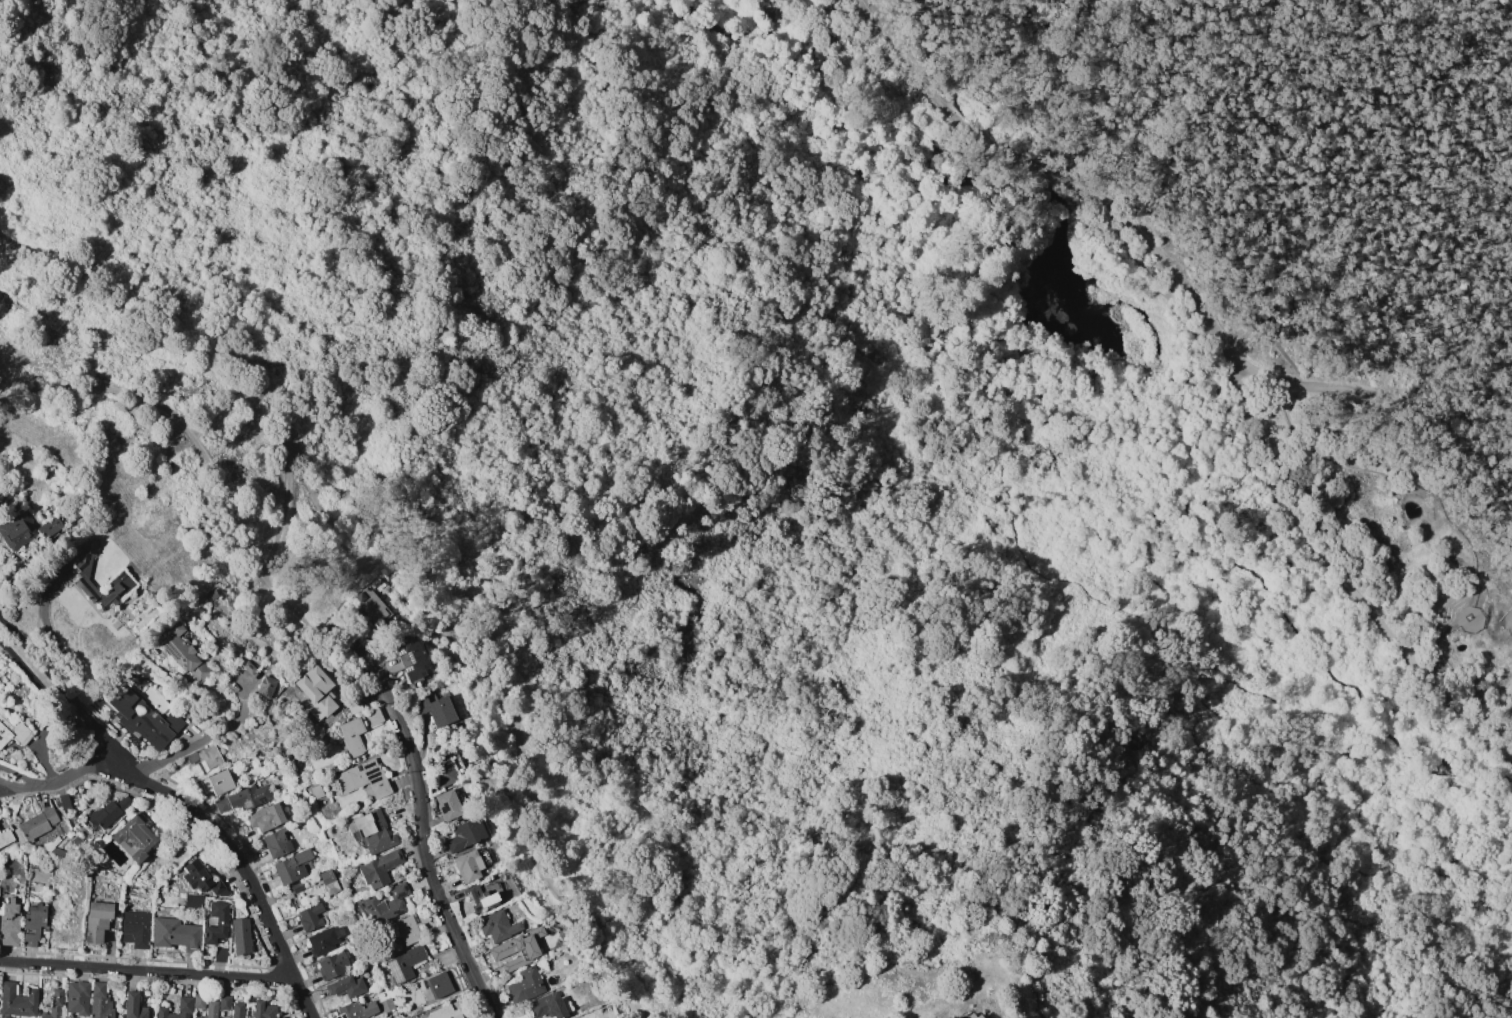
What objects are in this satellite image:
road: (1144, 37)
road: (1218, 47)
road: (1054, 172)
road: (1057, 183)
road: (1245, 188)
road: (1046, 193)
road: (1167, 295)
building: (1269, 327)
road: (223, 363)
road: (1225, 376)
road: (1375, 420)
road: (1235, 421)
road: (199, 450)
building: (48, 527)
building: (16, 530)
building: (83, 574)
road: (1343, 576)
building: (371, 606)
road: (1189, 625)
road: (1298, 640)
building: (182, 653)
road: (34, 656)
building: (410, 656)
road: (1172, 661)
building: (265, 684)
road: (513, 691)
road: (41, 692)
building: (315, 692)
building: (435, 710)
road: (80, 713)
building: (373, 717)
building: (142, 719)
building: (13, 732)
building: (351, 736)
road: (203, 740)
building: (208, 757)
building: (443, 770)
road: (76, 773)
road: (19, 776)
building: (362, 778)
building: (216, 782)
road: (19, 789)
building: (243, 798)
building: (447, 805)
road: (421, 809)
building: (109, 812)
building: (265, 817)
building: (37, 823)
building: (372, 830)
building: (464, 834)
building: (5, 837)
building: (133, 838)
building: (275, 843)
road: (229, 851)
building: (467, 865)
building: (291, 866)
building: (378, 869)
building: (201, 879)
building: (327, 881)
building: (479, 897)
building: (192, 901)
building: (385, 904)
building: (309, 917)
building: (96, 920)
building: (9, 922)
building: (33, 923)
building: (215, 923)
building: (496, 926)
building: (134, 929)
building: (404, 930)
building: (175, 934)
building: (240, 936)
building: (324, 939)
building: (516, 950)
building: (219, 955)
building: (403, 963)
building: (332, 965)
road: (147, 970)
building: (438, 985)
building: (525, 985)
building: (345, 986)
building: (76, 997)
building: (16, 1001)
building: (99, 1001)
building: (198, 1001)
building: (52, 1005)
building: (132, 1006)
building: (183, 1006)
building: (215, 1006)
building: (546, 1006)
building: (262, 1009)
building: (236, 1010)
building: (355, 1010)
building: (444, 1011)
building: (972, 1014)

